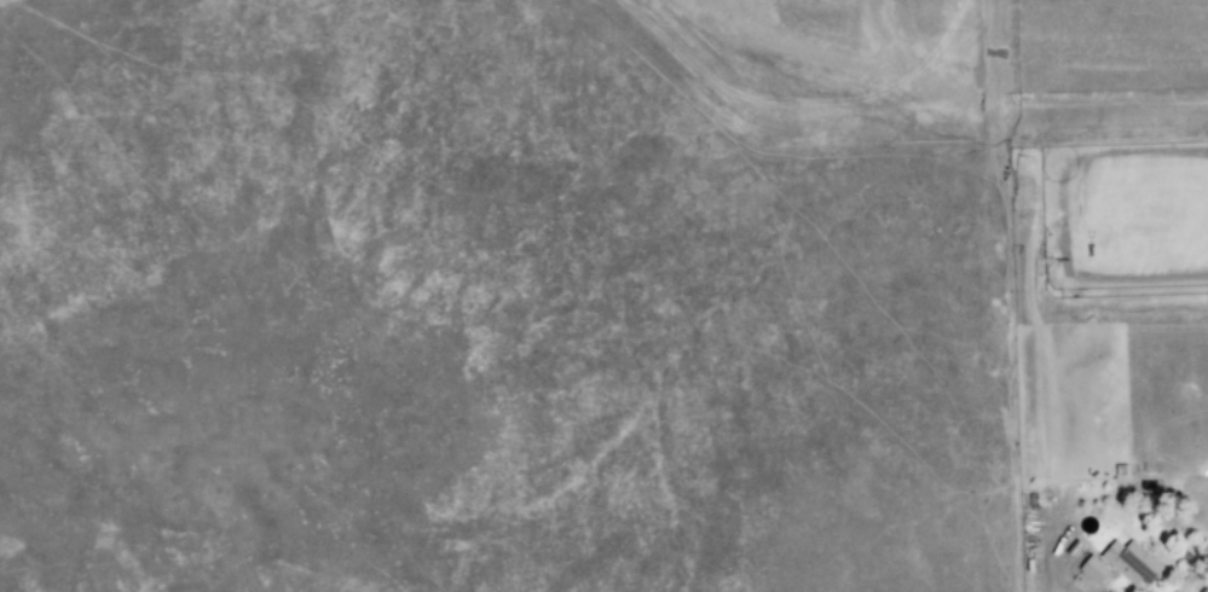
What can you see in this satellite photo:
road: (1033, 482)
building: (1128, 563)
building: (1091, 569)

